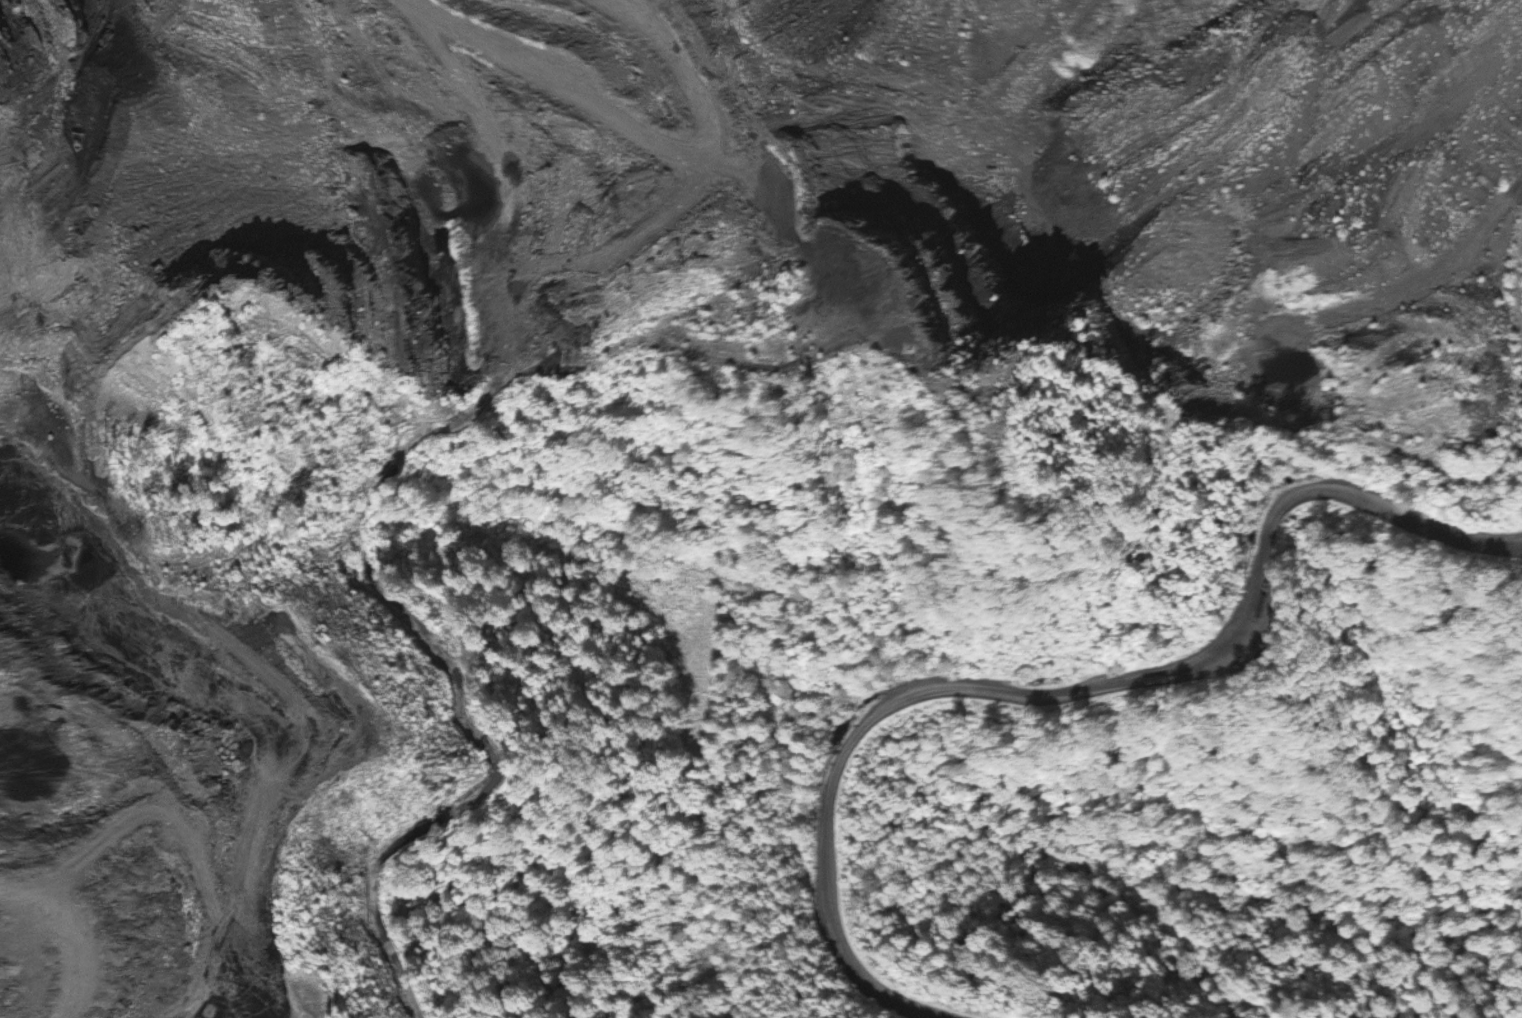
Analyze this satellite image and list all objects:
quarry: (605, 340)

